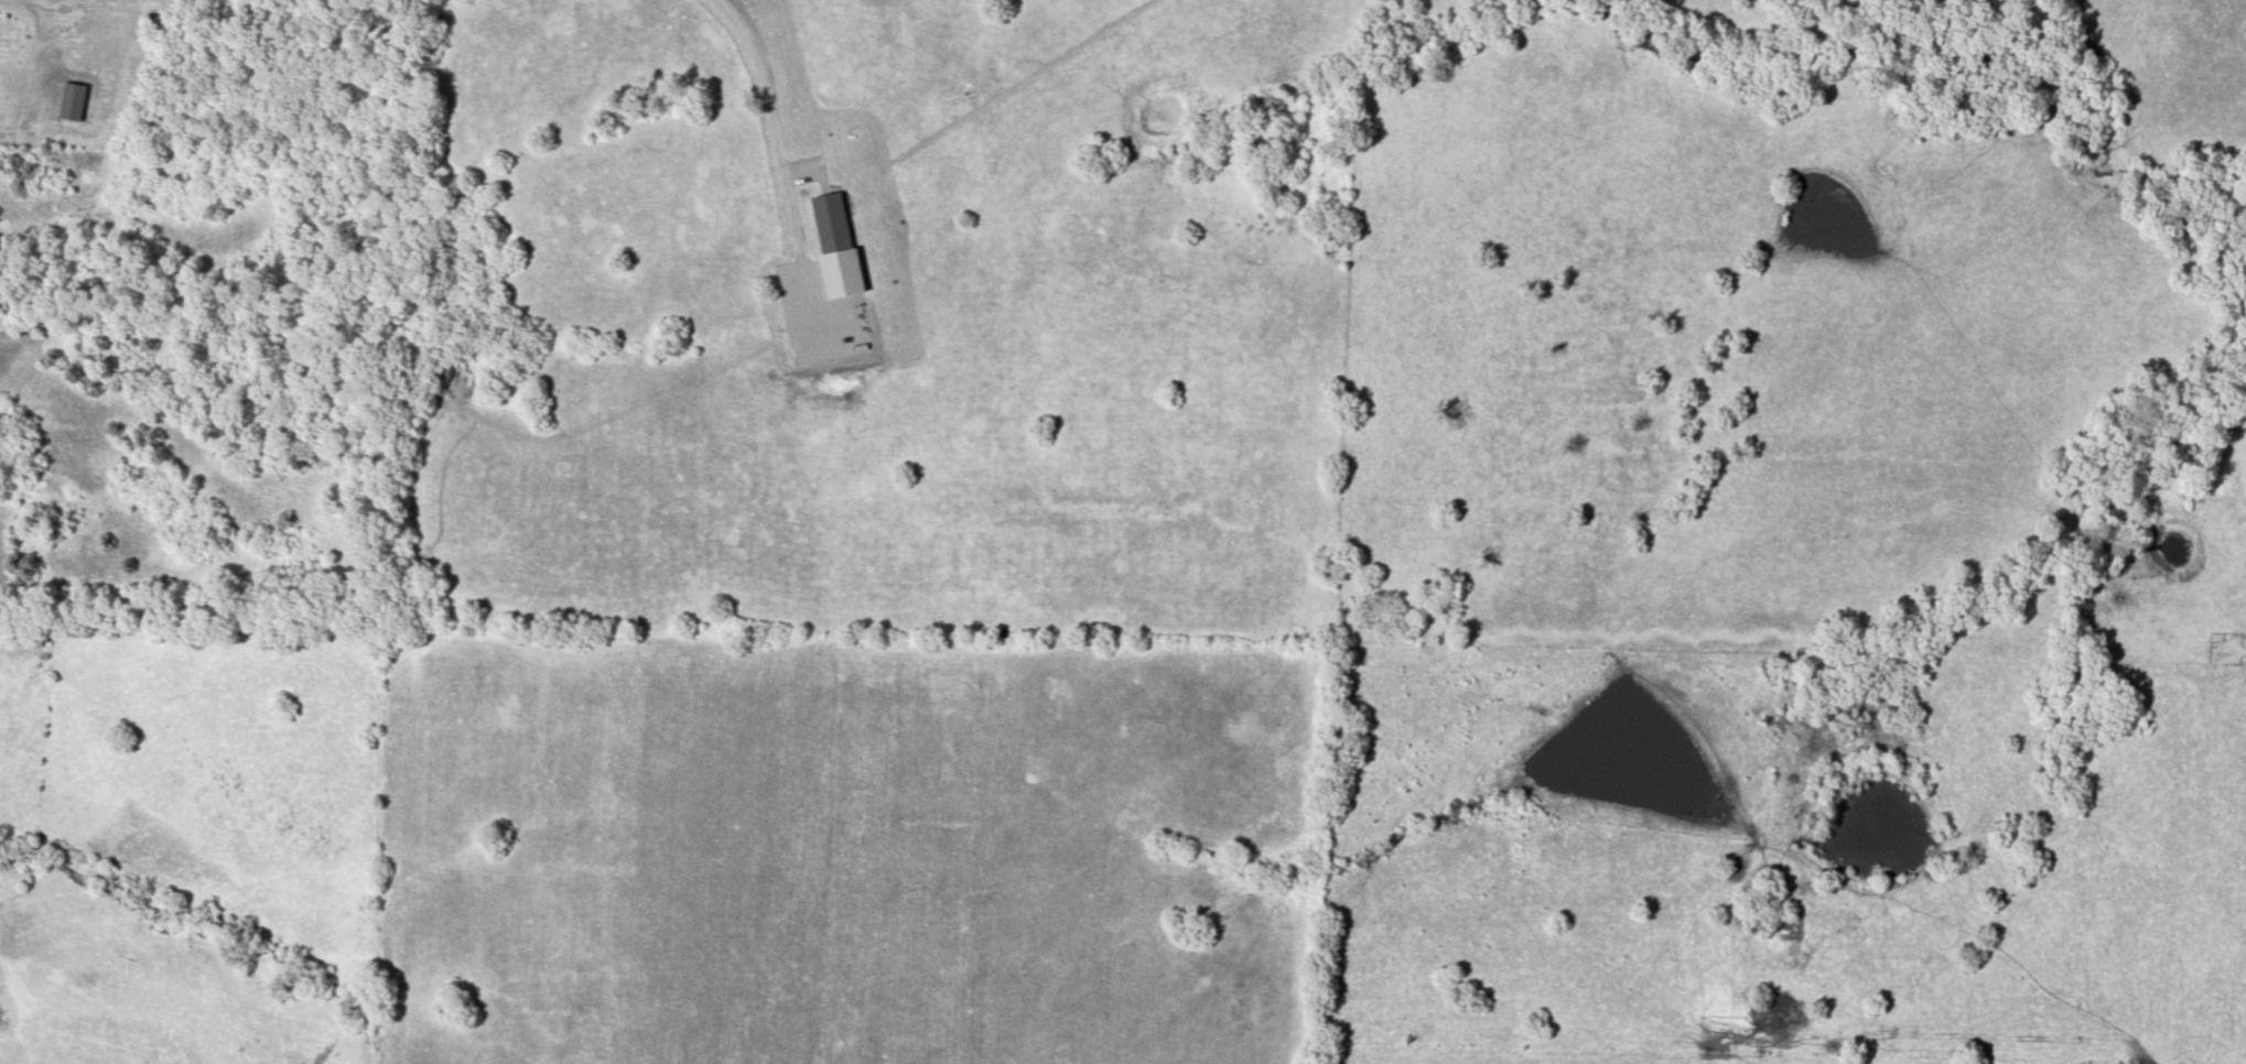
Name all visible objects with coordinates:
road: (765, 84)
building: (831, 224)

